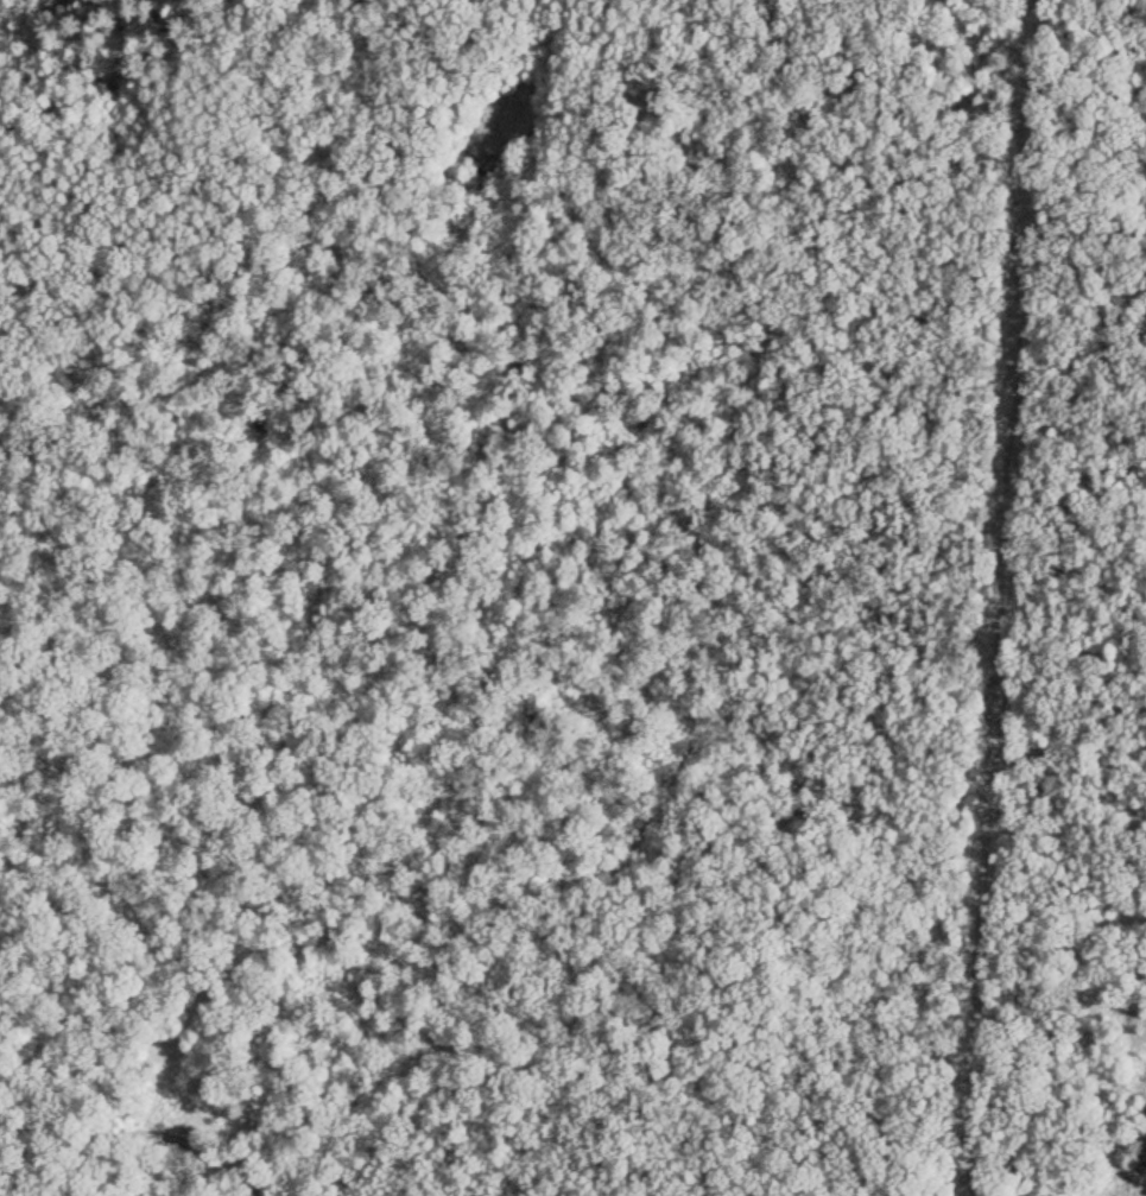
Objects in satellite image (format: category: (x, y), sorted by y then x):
road: (177, 191)
road: (135, 1132)

